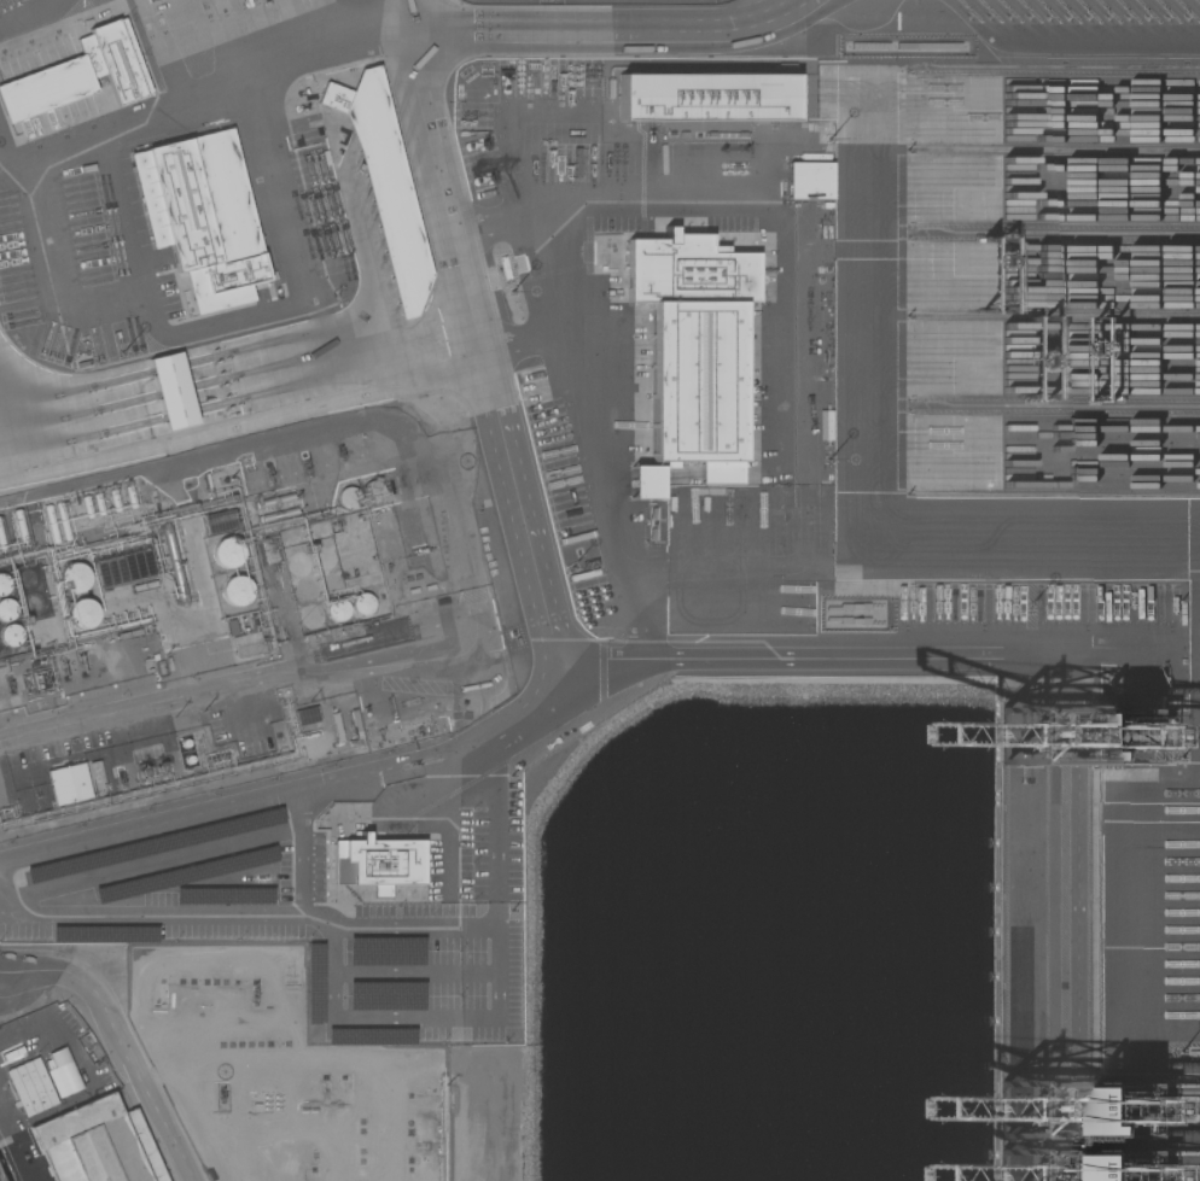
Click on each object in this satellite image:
road: (31, 12)
road: (409, 16)
road: (610, 33)
building: (83, 74)
road: (198, 94)
building: (706, 95)
building: (810, 180)
building: (383, 182)
building: (202, 215)
building: (692, 346)
road: (237, 364)
building: (173, 390)
road: (493, 399)
building: (643, 483)
building: (371, 492)
building: (130, 497)
building: (348, 498)
building: (115, 501)
building: (273, 501)
building: (99, 504)
building: (87, 507)
building: (276, 515)
building: (63, 521)
building: (219, 521)
building: (52, 524)
building: (19, 526)
road: (455, 533)
building: (1, 540)
building: (226, 551)
building: (325, 559)
building: (173, 565)
building: (299, 565)
building: (72, 578)
building: (29, 579)
building: (330, 584)
building: (4, 585)
building: (304, 590)
building: (235, 591)
building: (34, 603)
building: (362, 604)
building: (7, 610)
building: (337, 610)
building: (82, 614)
building: (11, 636)
building: (247, 645)
road: (238, 680)
building: (385, 711)
building: (305, 717)
building: (348, 729)
building: (95, 772)
building: (107, 773)
building: (68, 784)
road: (250, 799)
building: (151, 846)
building: (378, 861)
building: (184, 875)
building: (222, 895)
road: (472, 898)
road: (148, 916)
road: (330, 916)
building: (103, 935)
building: (384, 951)
building: (313, 984)
petroleum well: (254, 992)
building: (384, 995)
road: (37, 1012)
building: (369, 1036)
road: (118, 1043)
building: (43, 1082)
building: (97, 1145)
building: (1135, 1171)
pier: (2, 1174)

